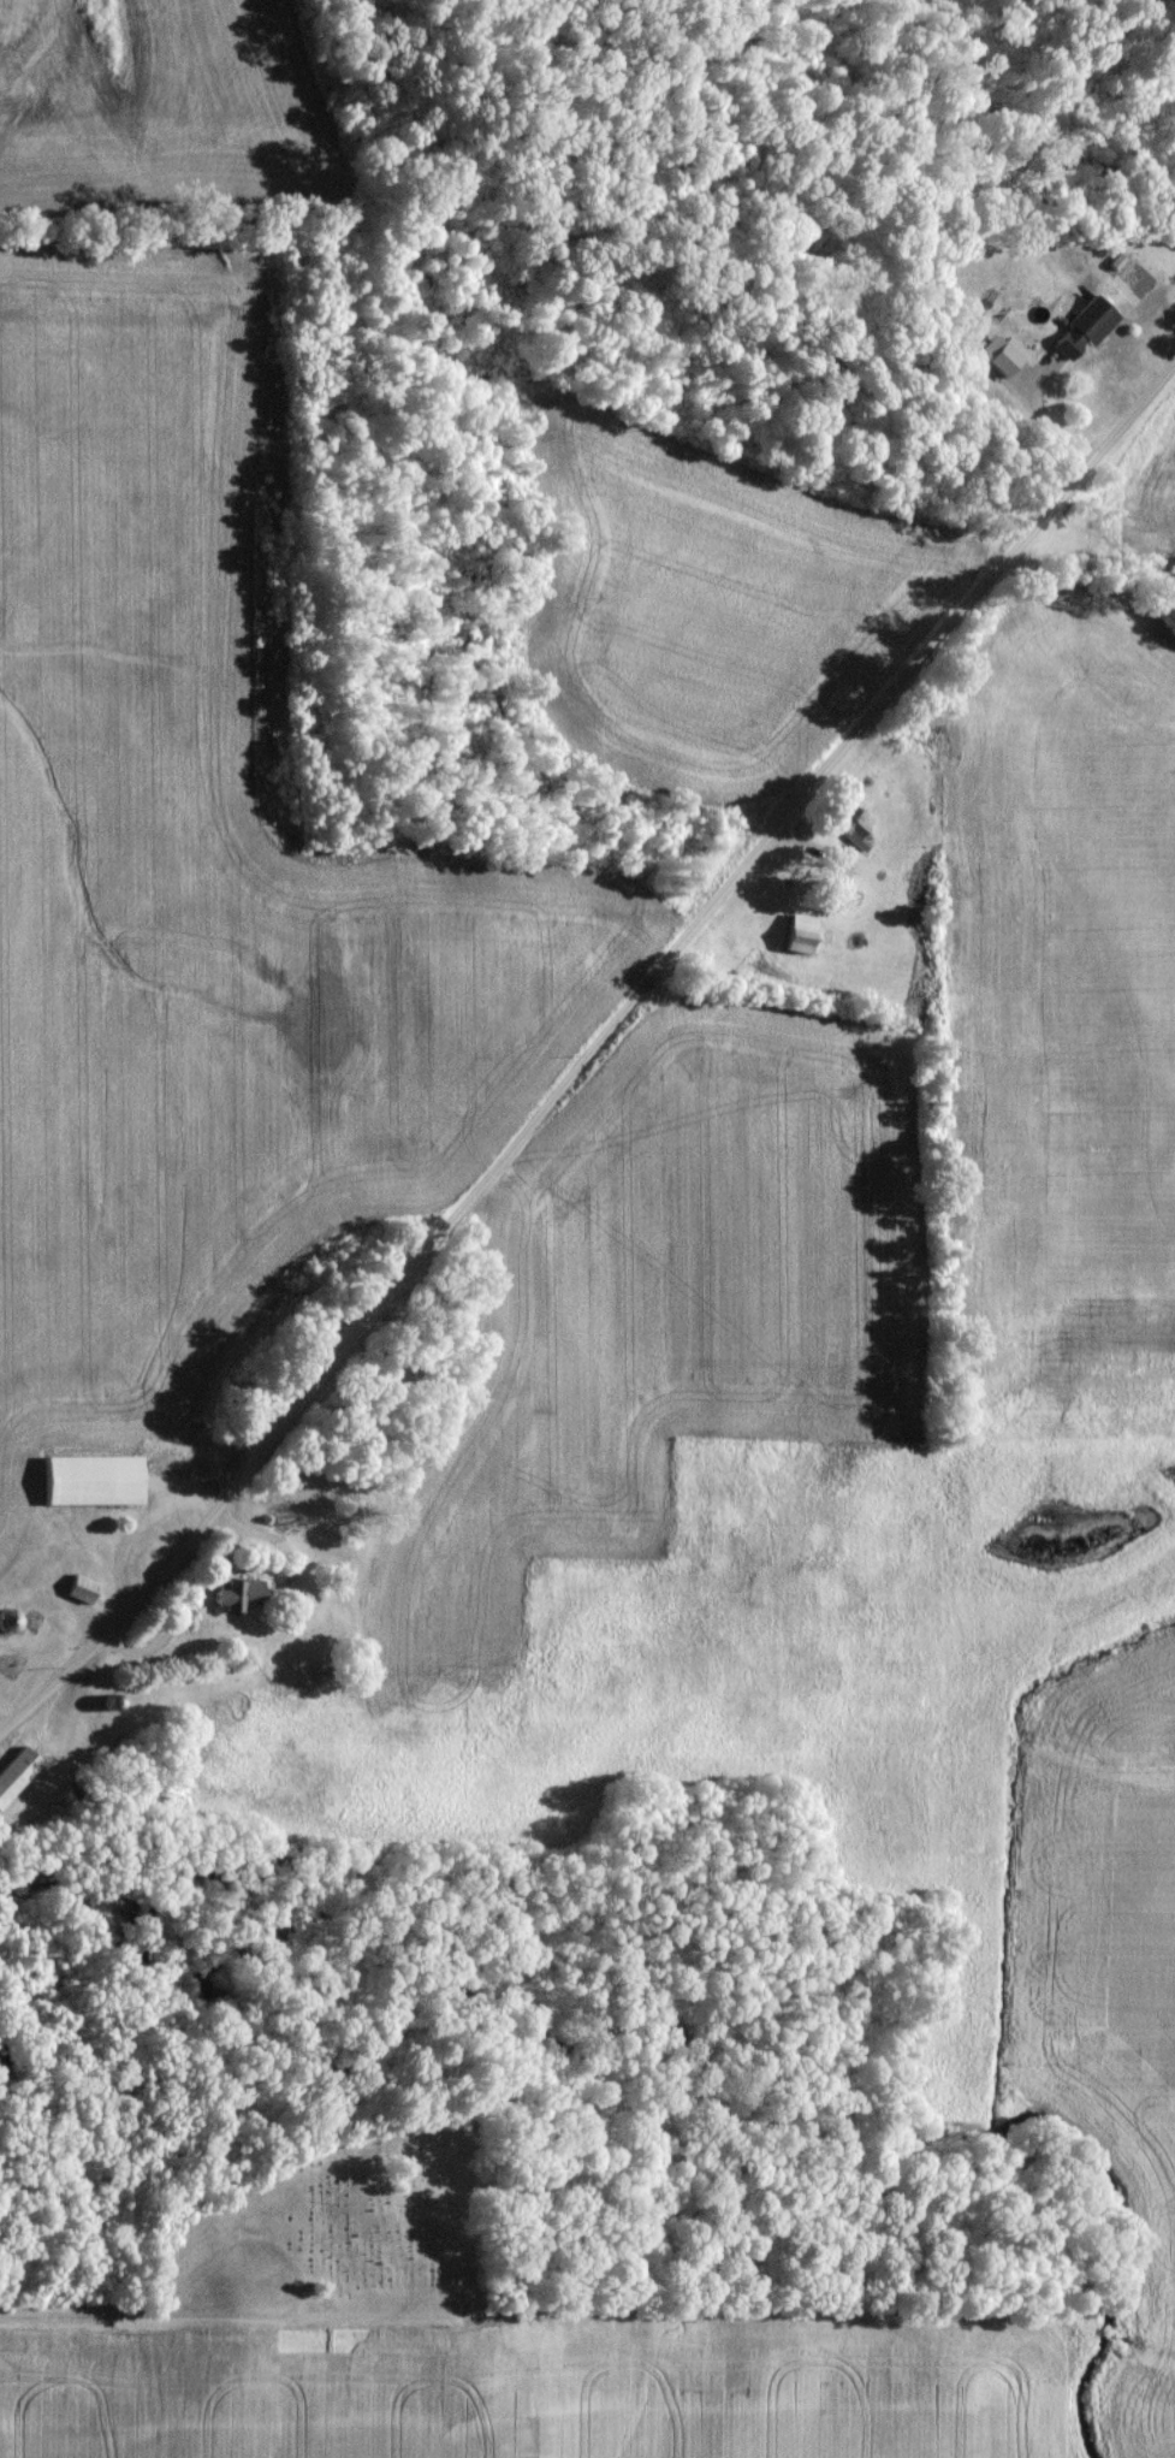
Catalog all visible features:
building: (1075, 334)
building: (849, 831)
building: (791, 941)
road: (589, 1056)
building: (82, 1487)
building: (71, 1595)
building: (226, 1601)
building: (1, 1631)
building: (12, 1775)
road: (993, 2054)
road: (408, 2158)
road: (146, 2368)

